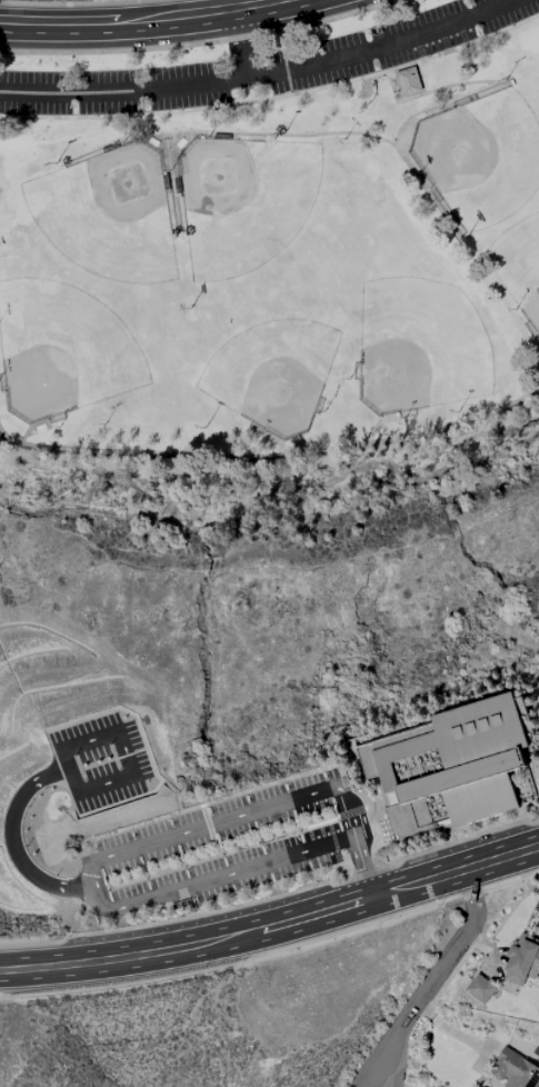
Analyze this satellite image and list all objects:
road: (81, 4)
road: (109, 10)
road: (167, 28)
road: (241, 39)
road: (483, 39)
road: (203, 44)
parking lot: (264, 66)
road: (261, 74)
building: (410, 83)
road: (457, 84)
road: (400, 88)
road: (194, 111)
road: (465, 113)
road: (331, 133)
road: (171, 134)
road: (411, 151)
park: (476, 158)
road: (188, 177)
road: (222, 178)
road: (98, 185)
road: (133, 185)
park: (246, 205)
park: (108, 218)
park: (520, 271)
park: (272, 275)
road: (520, 310)
park: (417, 351)
park: (63, 352)
park: (268, 367)
road: (322, 381)
road: (78, 409)
road: (377, 417)
road: (399, 417)
road: (64, 419)
road: (369, 437)
road: (22, 441)
road: (278, 451)
road: (280, 453)
road: (271, 456)
road: (123, 727)
building: (453, 766)
road: (358, 779)
road: (536, 799)
road: (359, 822)
road: (14, 834)
road: (416, 837)
road: (461, 840)
parking lot: (159, 842)
road: (375, 849)
road: (219, 855)
road: (361, 869)
road: (387, 872)
road: (362, 874)
road: (349, 880)
road: (100, 884)
road: (110, 915)
road: (273, 917)
road: (171, 923)
road: (272, 938)
road: (272, 953)
building: (522, 960)
road: (439, 971)
building: (480, 988)
building: (515, 1070)
road: (380, 1085)

